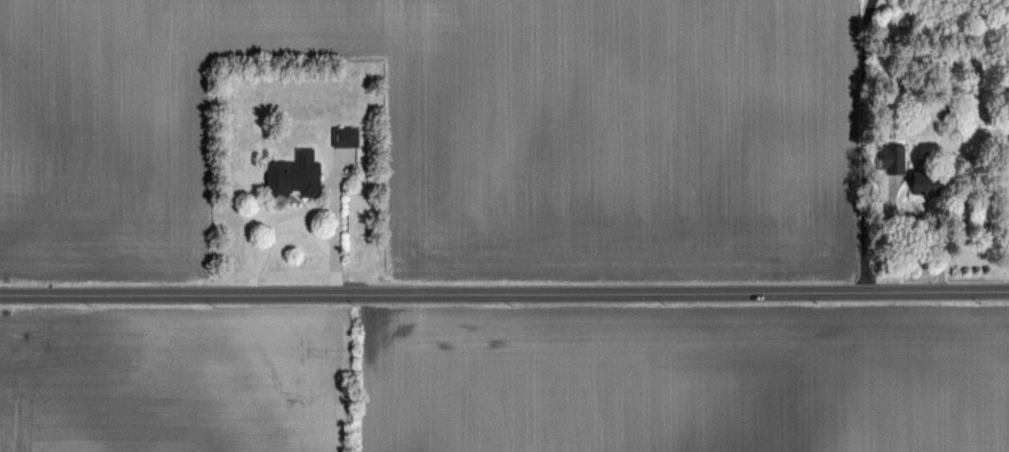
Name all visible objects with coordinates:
road: (861, 146)
road: (296, 219)
road: (504, 293)

